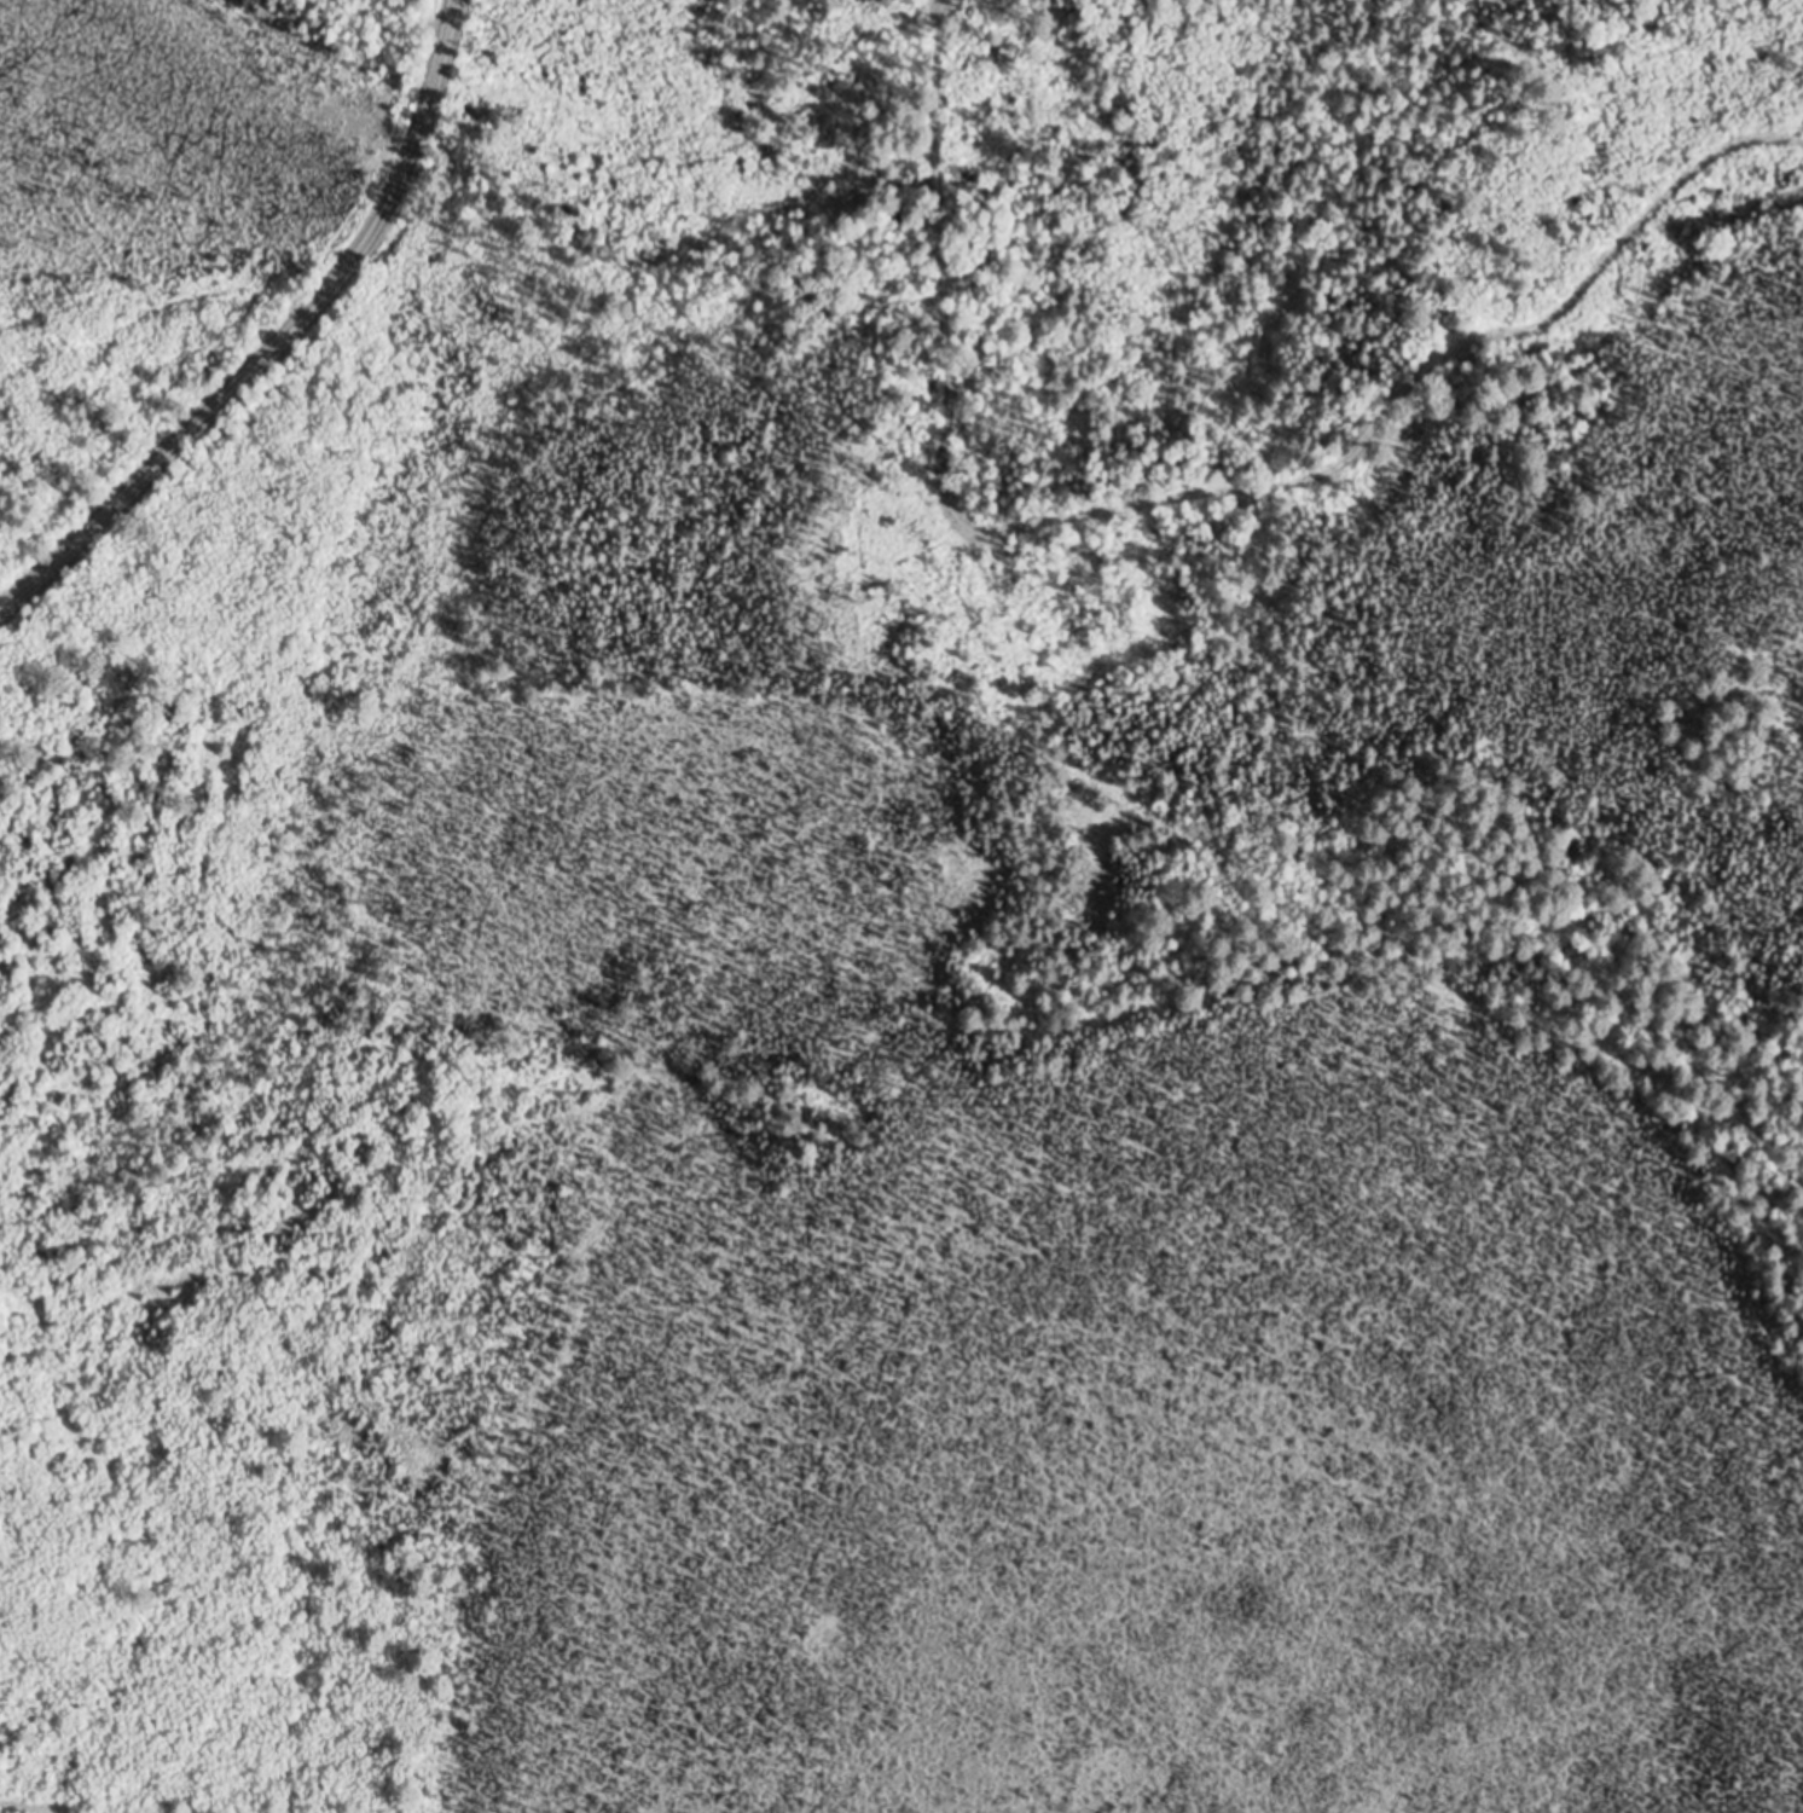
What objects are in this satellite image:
road: (280, 342)

